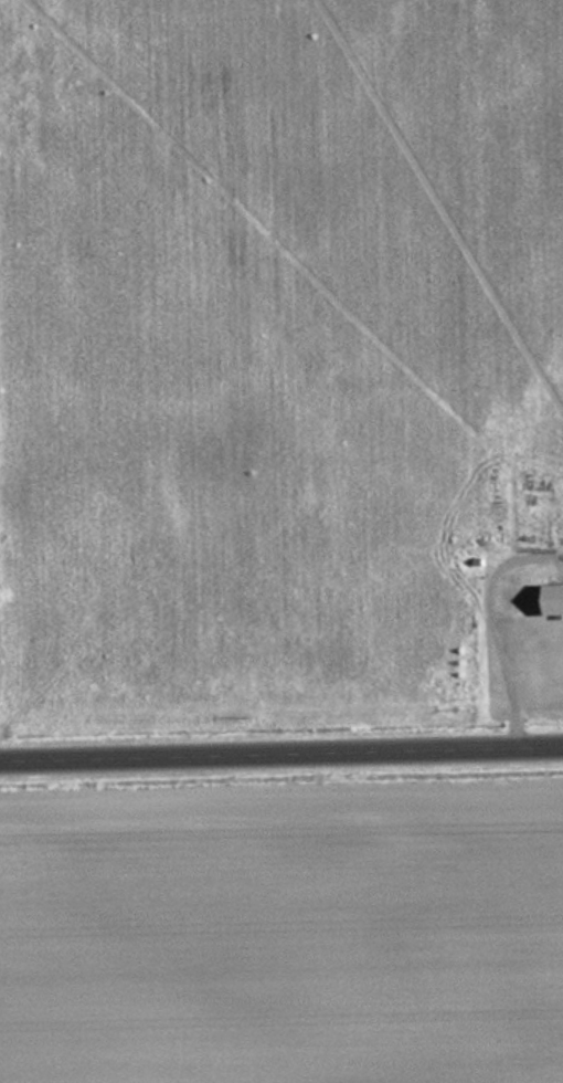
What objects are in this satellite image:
building: (554, 599)
building: (533, 641)
road: (281, 750)

